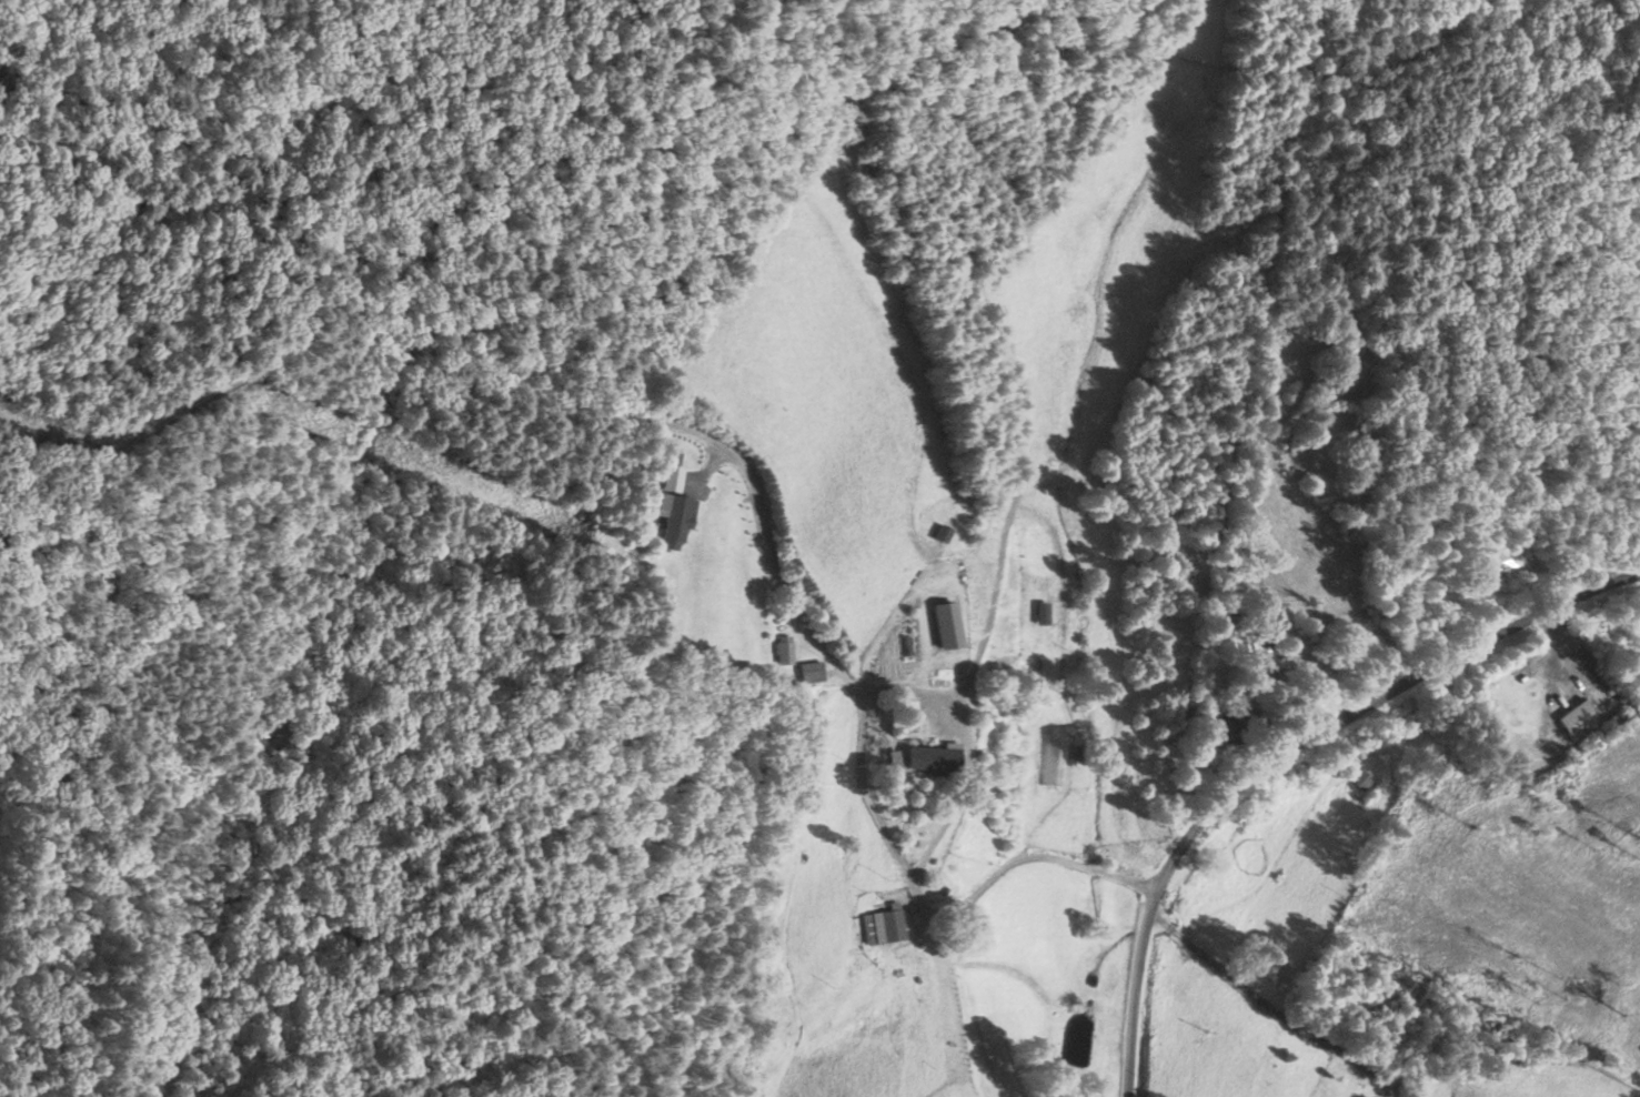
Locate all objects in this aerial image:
road: (18, 416)
road: (708, 440)
building: (677, 519)
building: (1045, 613)
building: (949, 625)
building: (785, 651)
building: (813, 672)
building: (1580, 719)
road: (1281, 749)
building: (937, 757)
building: (1056, 761)
building: (1362, 778)
building: (885, 926)

